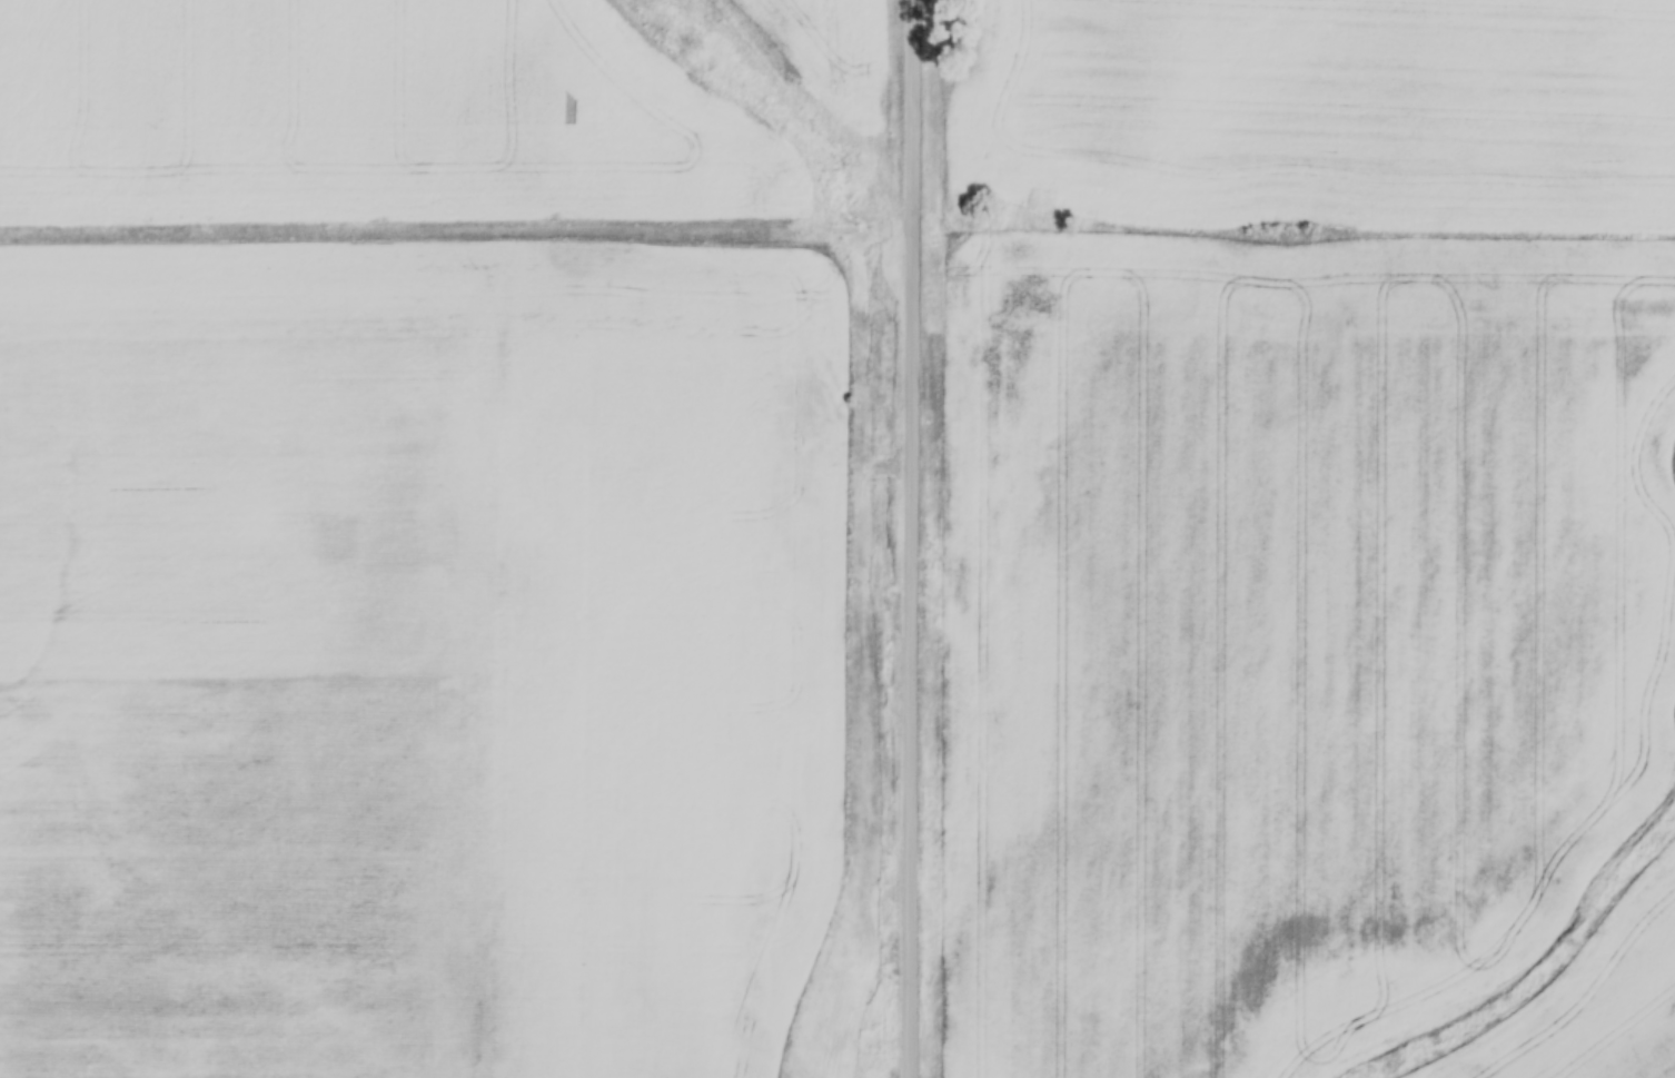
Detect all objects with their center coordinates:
road: (914, 538)

